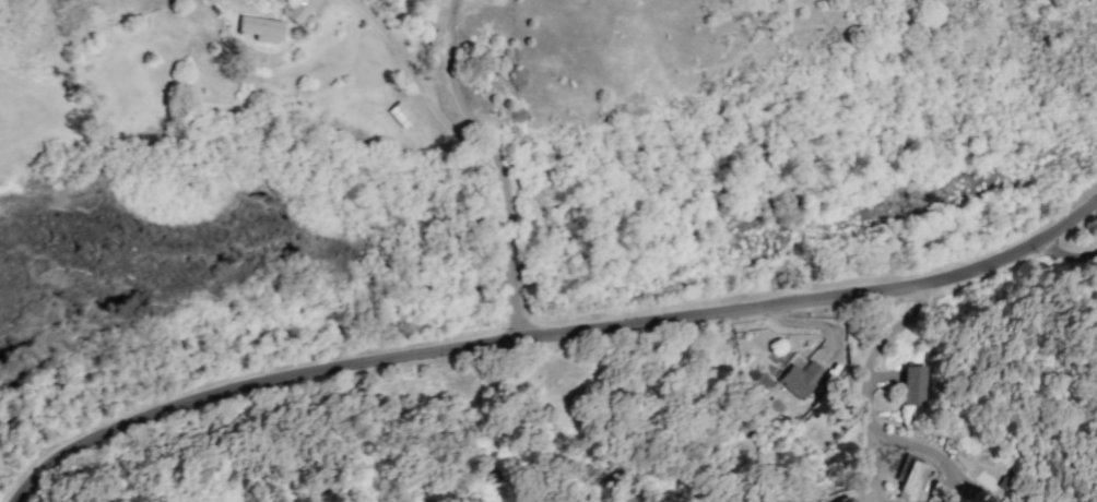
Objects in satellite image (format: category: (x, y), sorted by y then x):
building: (296, 13)
building: (259, 27)
road: (422, 88)
building: (400, 113)
road: (497, 165)
road: (1066, 250)
road: (553, 337)
building: (799, 376)
building: (912, 384)
road: (697, 407)
road: (870, 428)
building: (911, 479)
building: (847, 500)

